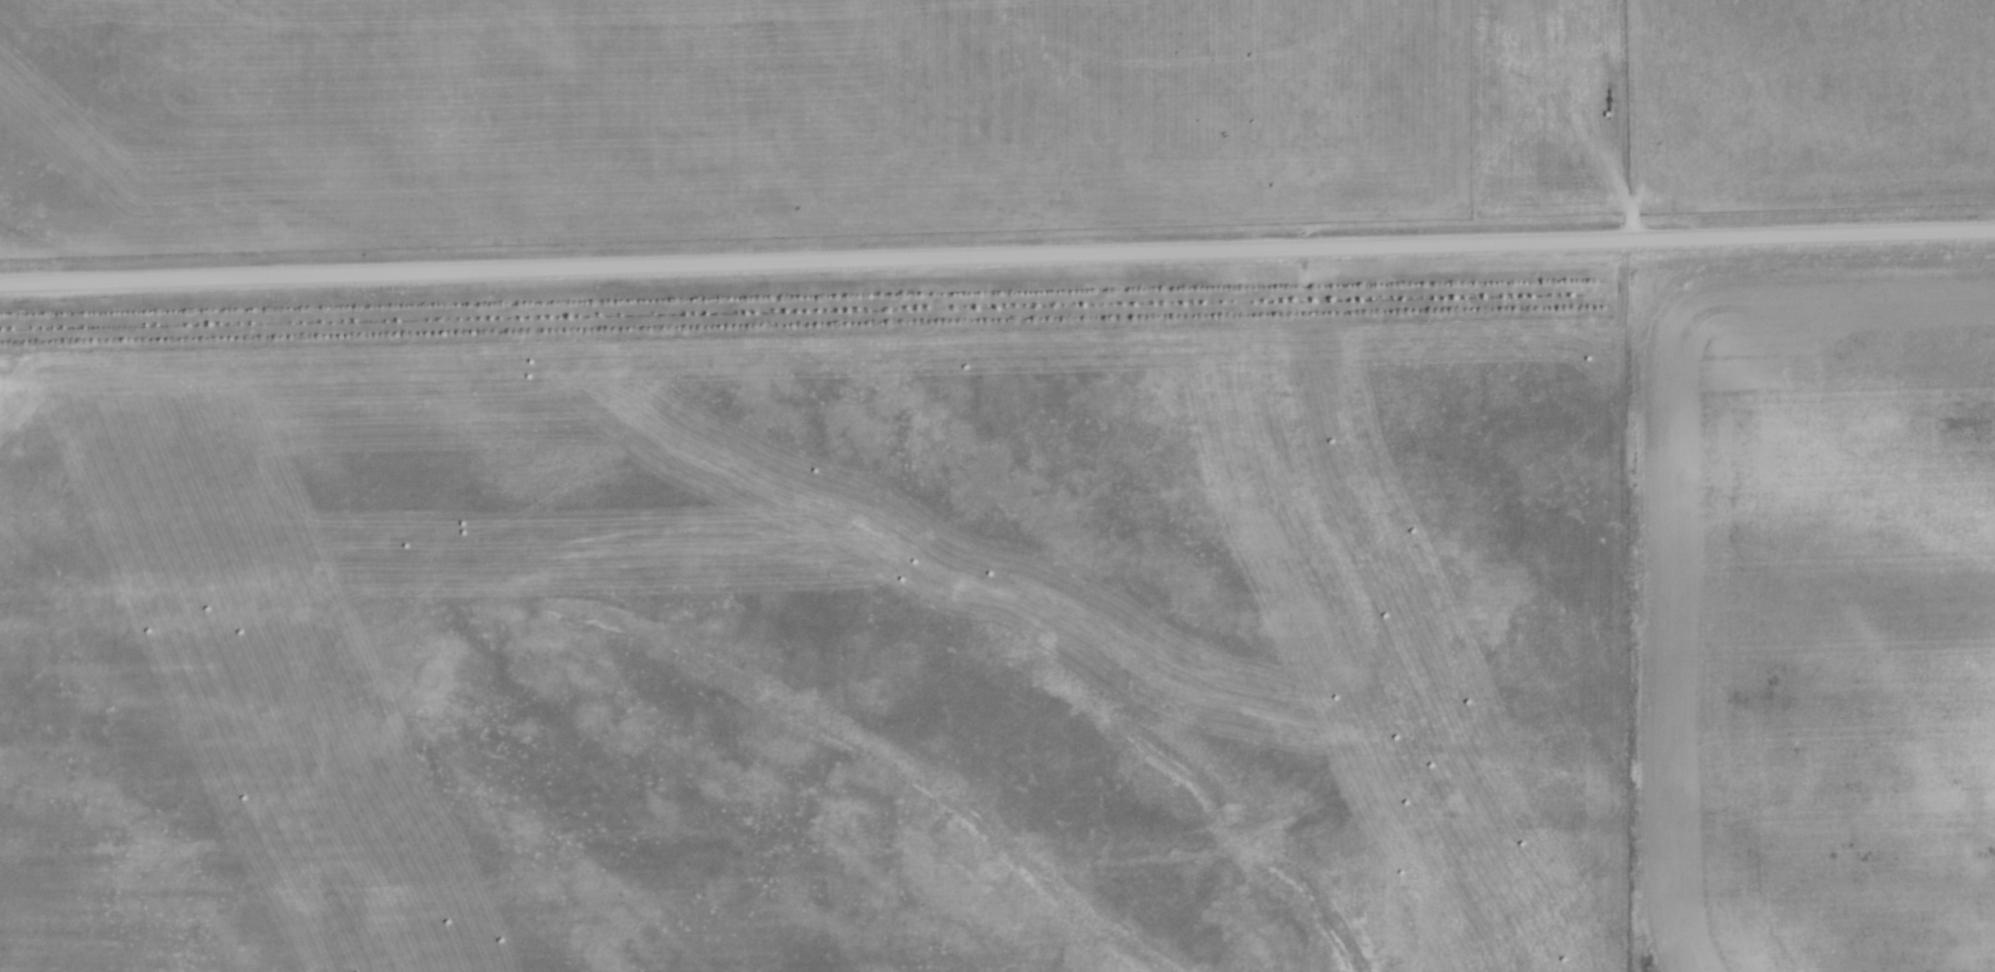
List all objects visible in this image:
road: (997, 257)

